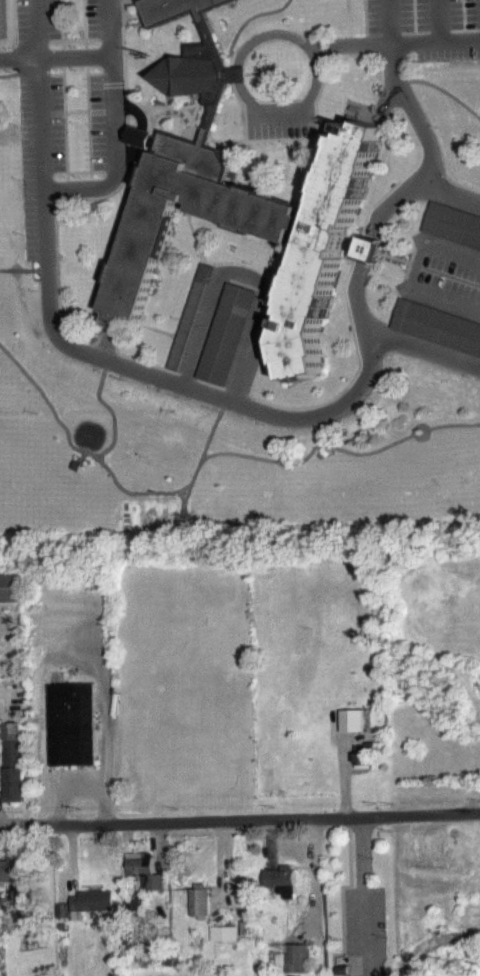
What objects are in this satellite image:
road: (390, 27)
road: (37, 33)
road: (106, 33)
road: (286, 48)
road: (393, 54)
road: (54, 66)
road: (237, 77)
road: (273, 118)
road: (115, 165)
road: (450, 194)
building: (240, 201)
building: (453, 227)
building: (189, 328)
building: (437, 329)
building: (224, 345)
road: (422, 350)
road: (253, 407)
building: (11, 598)
building: (353, 731)
building: (71, 735)
building: (364, 764)
building: (14, 773)
road: (240, 828)
building: (144, 882)
building: (280, 891)
road: (360, 901)
building: (92, 912)
building: (199, 914)
building: (223, 944)
road: (440, 950)
building: (297, 965)
building: (130, 967)

